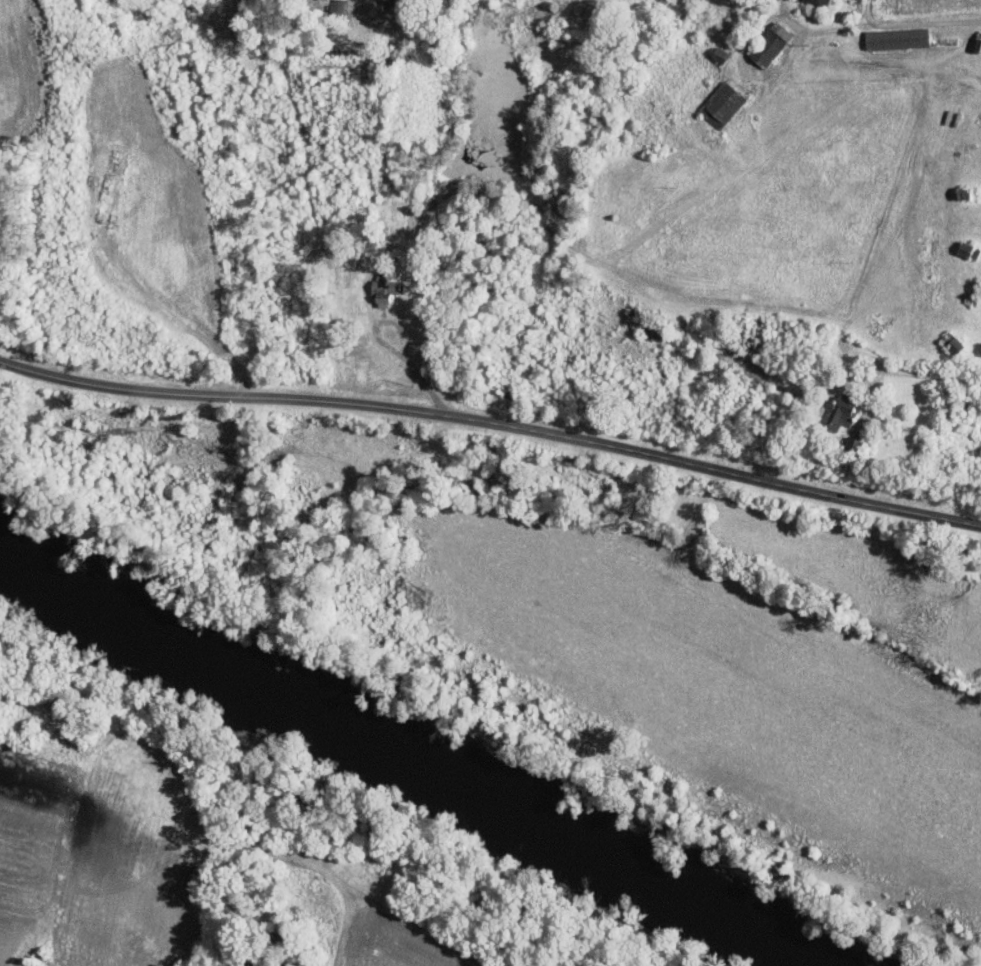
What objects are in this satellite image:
building: (818, 1)
road: (867, 12)
road: (885, 22)
building: (894, 37)
building: (770, 44)
building: (719, 103)
building: (951, 344)
road: (394, 347)
building: (838, 413)
road: (493, 421)
river: (111, 605)
river: (520, 824)

